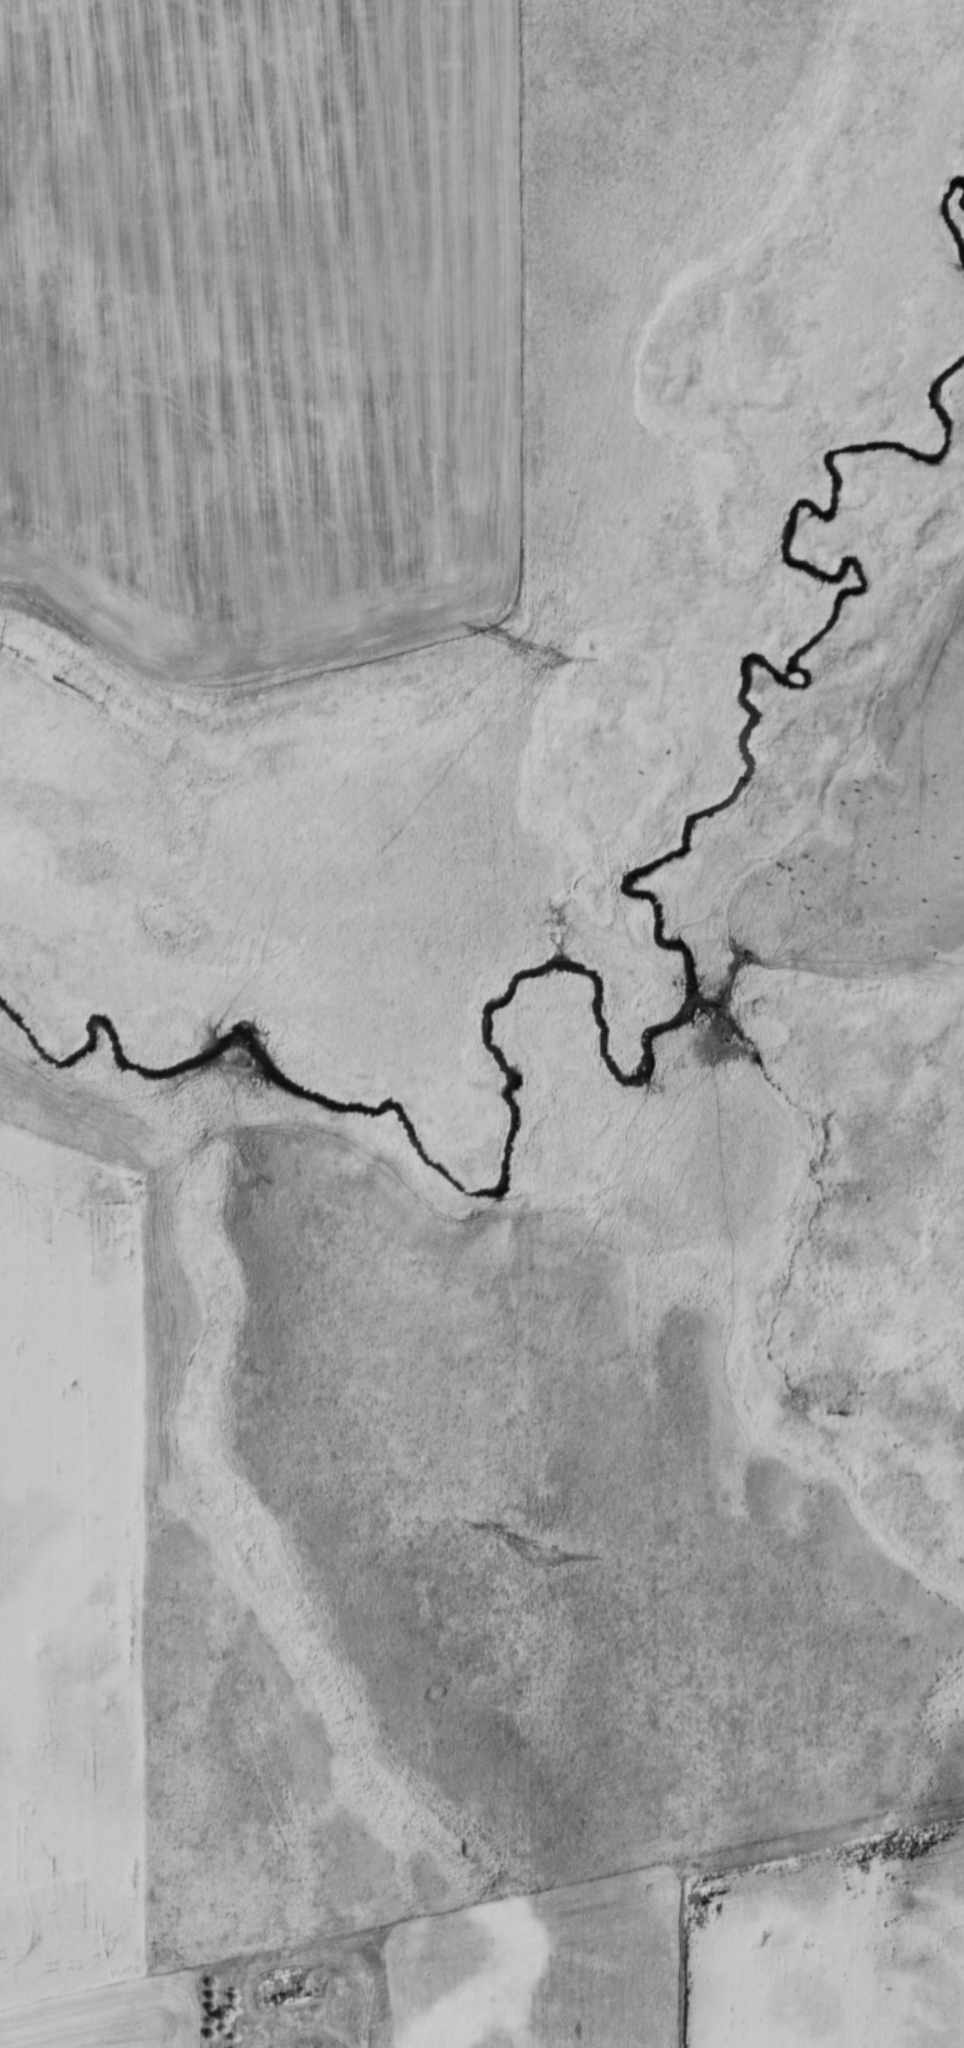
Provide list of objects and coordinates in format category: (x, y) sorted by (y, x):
power tower: (539, 662)
power tower: (544, 1558)

